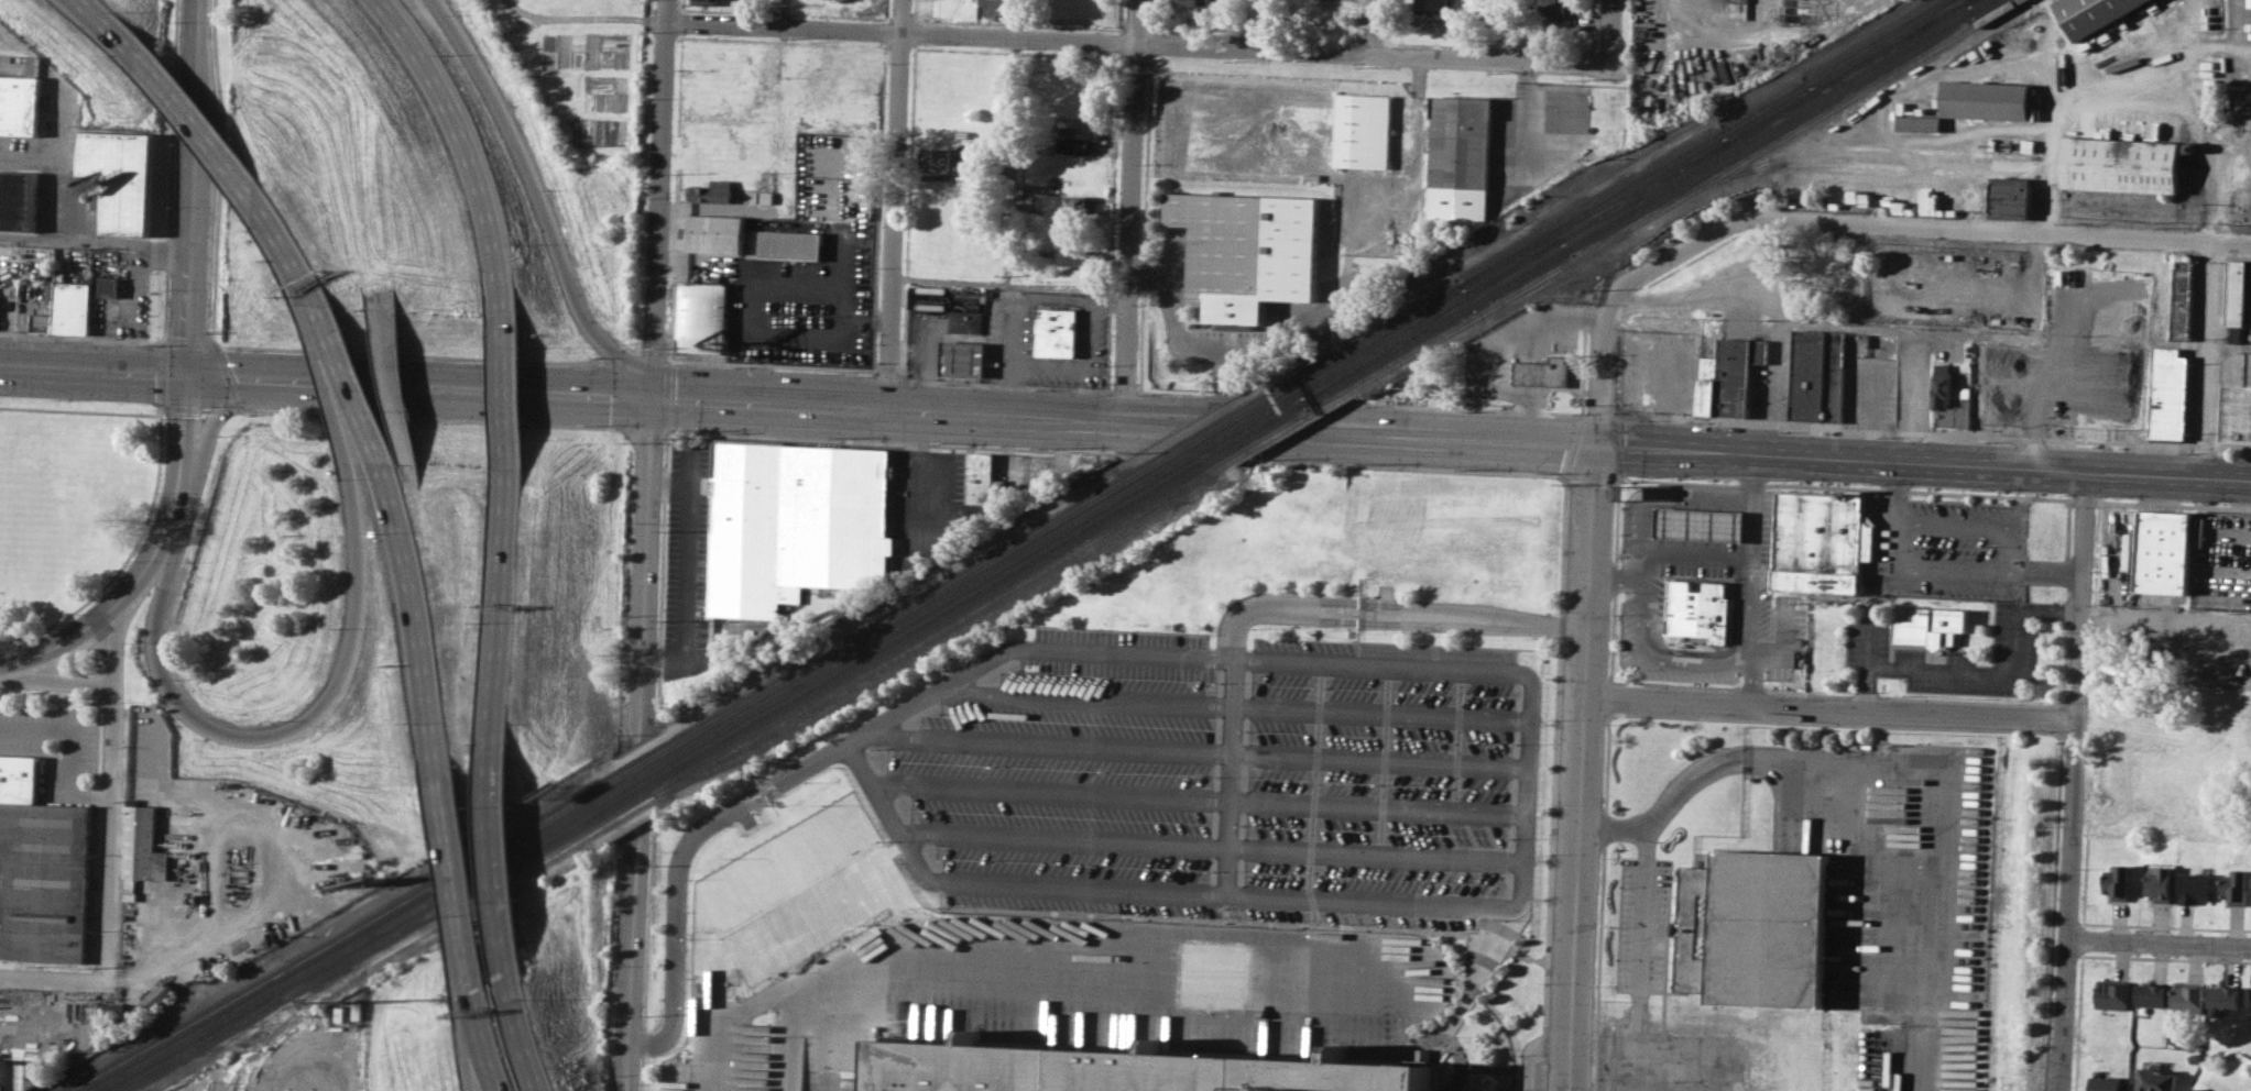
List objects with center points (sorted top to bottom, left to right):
railway: (1968, 0)
railway: (1968, 0)
building: (706, 1)
building: (1193, 1)
building: (1429, 4)
building: (1556, 7)
building: (996, 8)
building: (2095, 13)
road: (786, 14)
road: (587, 19)
building: (1425, 23)
road: (1255, 24)
road: (102, 25)
road: (1374, 27)
road: (1764, 29)
road: (1490, 30)
road: (1609, 30)
road: (1138, 43)
railway: (1887, 45)
railway: (1892, 45)
building: (31, 65)
building: (1987, 99)
building: (19, 106)
railway: (1771, 117)
building: (1919, 122)
road: (196, 125)
building: (1362, 129)
road: (334, 130)
railway: (1702, 143)
building: (1075, 144)
road: (459, 145)
railway: (1856, 148)
building: (1458, 156)
building: (938, 158)
building: (2121, 164)
railway: (1883, 166)
building: (122, 176)
railway: (1643, 190)
building: (711, 194)
railway: (1660, 194)
railway: (1685, 196)
building: (2009, 197)
road: (662, 198)
building: (18, 199)
building: (1024, 200)
road: (537, 203)
road: (1009, 203)
building: (1074, 203)
road: (895, 206)
road: (1133, 211)
railway: (1592, 214)
road: (1919, 229)
building: (714, 235)
road: (96, 240)
building: (789, 246)
building: (1248, 252)
road: (285, 255)
building: (1074, 256)
road: (189, 273)
building: (1077, 274)
road: (950, 282)
building: (109, 285)
building: (2181, 297)
road: (1067, 300)
building: (2237, 300)
building: (930, 304)
building: (72, 307)
railway: (1435, 311)
railway: (1444, 312)
road: (2207, 312)
building: (700, 320)
building: (42, 322)
building: (963, 322)
road: (1985, 333)
building: (1053, 334)
railway: (1375, 334)
road: (806, 338)
road: (1275, 338)
road: (1491, 352)
road: (1003, 356)
building: (960, 361)
road: (1077, 366)
road: (1598, 370)
building: (1543, 372)
building: (1822, 372)
traffic signals: (186, 374)
building: (1735, 374)
road: (395, 383)
road: (346, 386)
building: (1706, 386)
road: (505, 389)
road: (561, 392)
building: (1683, 393)
building: (2167, 393)
railway: (1316, 395)
railway: (1316, 395)
building: (1941, 396)
traffic signals: (656, 397)
building: (2236, 397)
road: (222, 405)
road: (228, 408)
road: (160, 410)
road: (427, 418)
railway: (1224, 421)
road: (2012, 422)
railway: (1243, 423)
road: (2052, 425)
road: (642, 427)
railway: (1283, 428)
road: (1358, 431)
railway: (1249, 433)
road: (352, 434)
traffic signals: (1594, 442)
road: (1922, 459)
road: (1421, 467)
road: (916, 473)
building: (980, 476)
road: (1587, 476)
road: (1562, 477)
road: (153, 486)
road: (1843, 486)
road: (669, 487)
road: (1893, 492)
road: (2084, 499)
park: (72, 502)
road: (2172, 504)
building: (1697, 524)
gas station: (1697, 524)
building: (793, 525)
building: (2199, 531)
park: (28, 532)
road: (426, 535)
building: (1821, 541)
parking lot: (1949, 547)
building: (2164, 551)
road: (1695, 553)
road: (2010, 567)
road: (2045, 570)
road: (646, 571)
road: (136, 572)
road: (684, 572)
road: (1610, 577)
road: (1753, 577)
road: (1635, 578)
road: (496, 608)
building: (1697, 611)
road: (2165, 617)
road: (1239, 618)
road: (414, 619)
building: (1932, 626)
road: (63, 640)
railway: (938, 642)
road: (1783, 648)
parking lot: (1948, 657)
road: (1868, 661)
road: (2003, 673)
road: (55, 681)
road: (1832, 694)
road: (58, 698)
road: (1827, 709)
railway: (786, 718)
road: (292, 728)
building: (145, 740)
road: (68, 745)
parking lot: (54, 746)
road: (841, 747)
road: (1580, 765)
parking lot: (1223, 776)
building: (19, 778)
railway: (614, 779)
railway: (635, 779)
railway: (656, 779)
road: (2070, 779)
road: (110, 786)
road: (1840, 802)
road: (491, 864)
building: (134, 868)
building: (44, 880)
building: (2117, 881)
building: (2160, 883)
building: (2234, 884)
road: (456, 886)
building: (2194, 886)
parking lot: (1901, 888)
road: (774, 899)
parking lot: (1642, 925)
building: (1753, 928)
road: (1643, 940)
road: (2157, 945)
road: (1057, 955)
road: (630, 960)
road: (52, 971)
parking lot: (1012, 973)
building: (161, 993)
building: (2111, 994)
building: (2150, 994)
building: (2223, 996)
building: (2187, 998)
building: (2248, 998)
railway: (286, 1020)
road: (837, 1024)
railway: (254, 1029)
road: (523, 1036)
road: (481, 1045)
road: (1532, 1053)
road: (1673, 1054)
parking lot: (1670, 1061)
road: (481, 1068)
building: (1123, 1071)
building: (20, 1076)
building: (2154, 1079)
building: (2106, 1083)
building: (2195, 1089)

